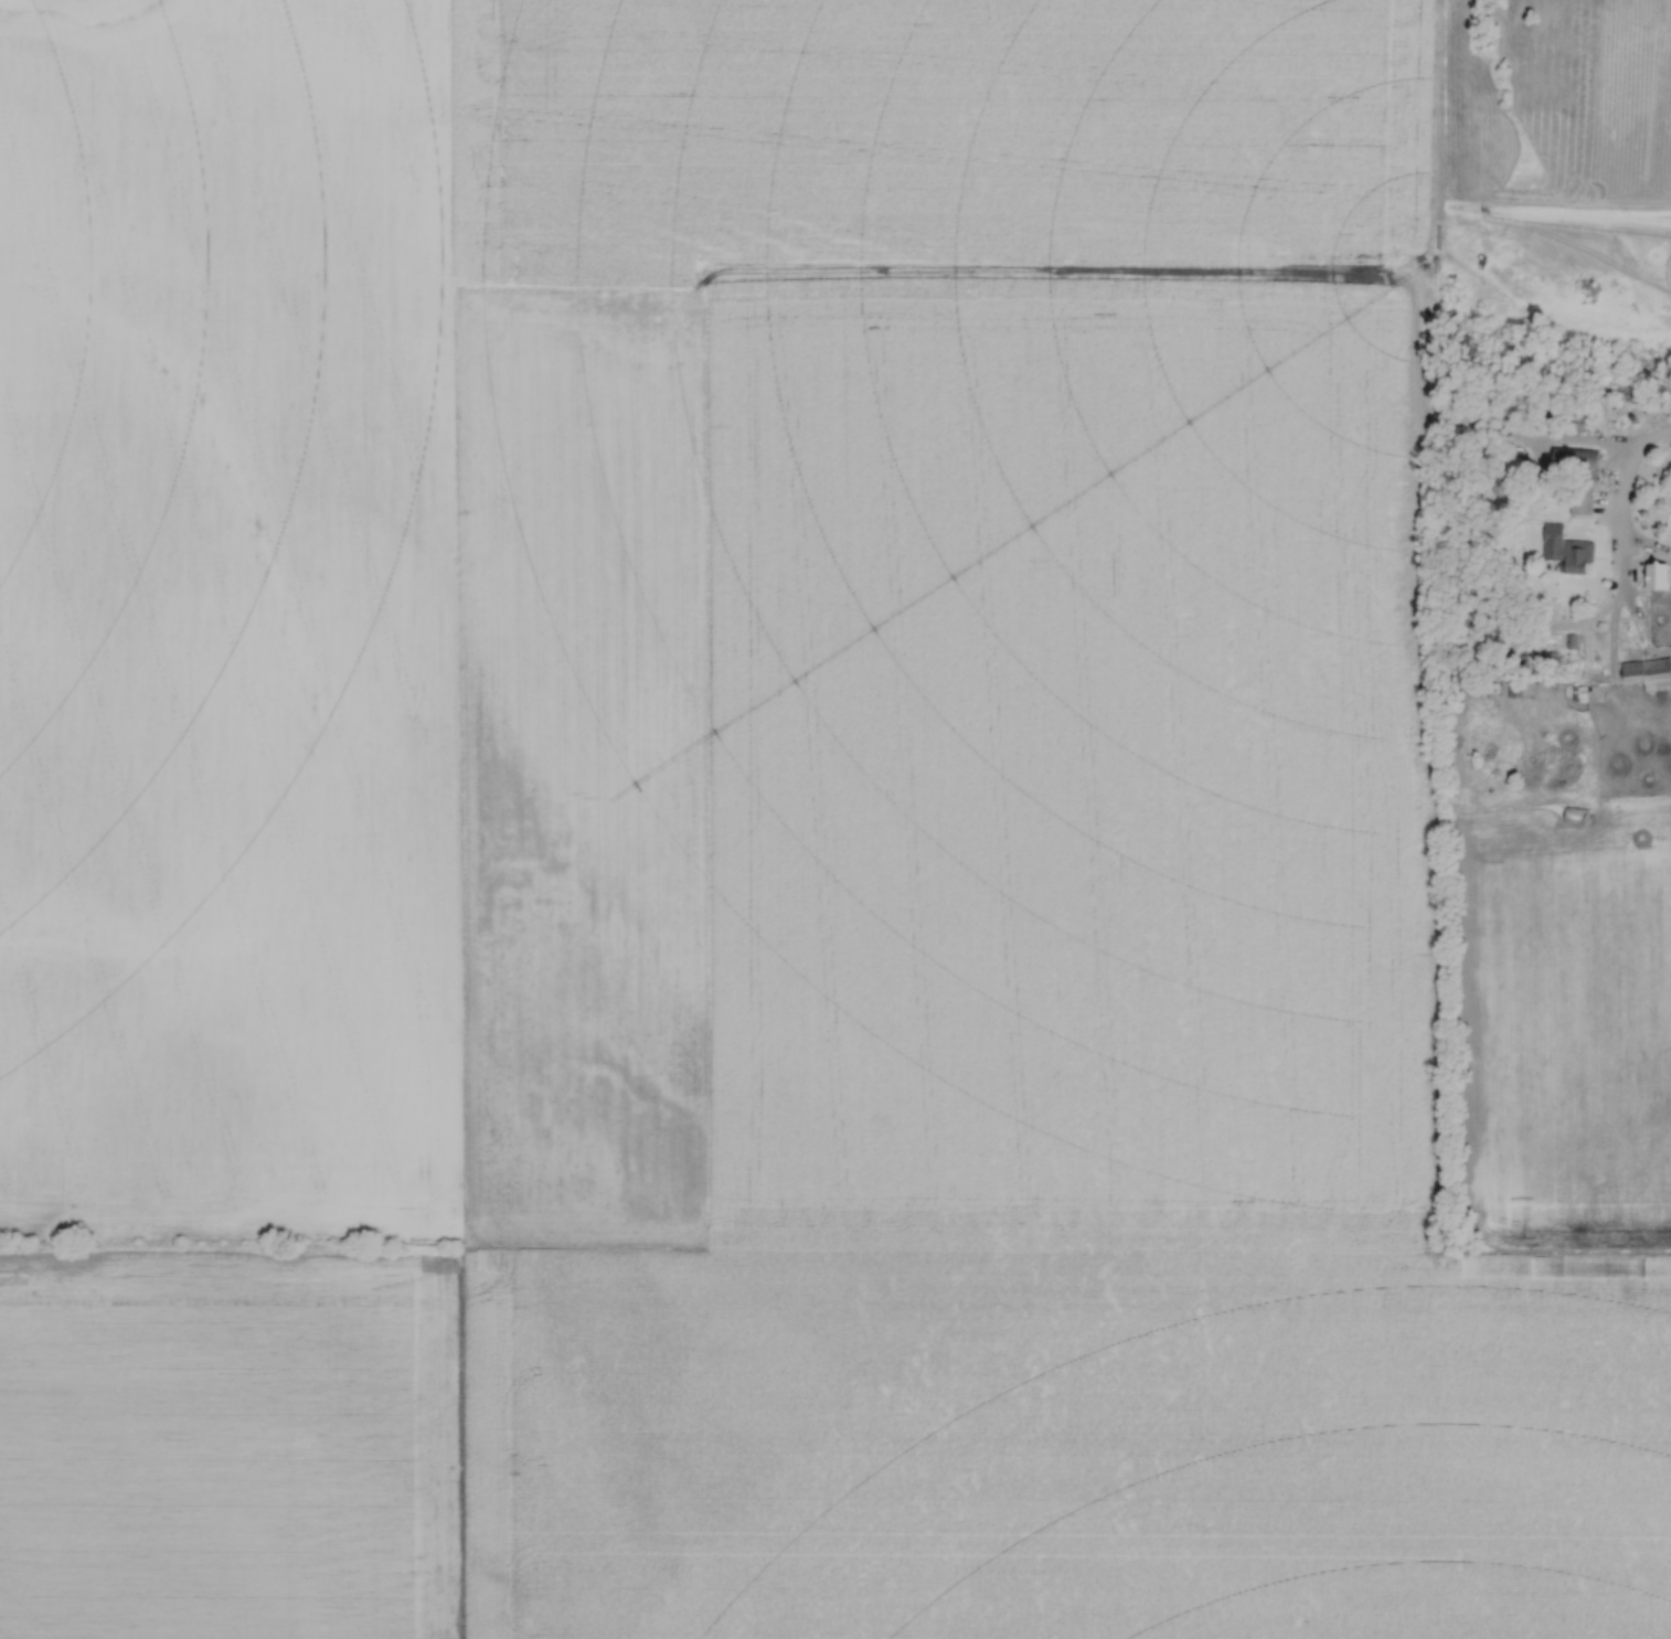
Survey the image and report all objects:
building: (1627, 392)
building: (1573, 462)
road: (1620, 496)
building: (1578, 501)
building: (1564, 552)
building: (1656, 576)
building: (1647, 673)
building: (1574, 816)

